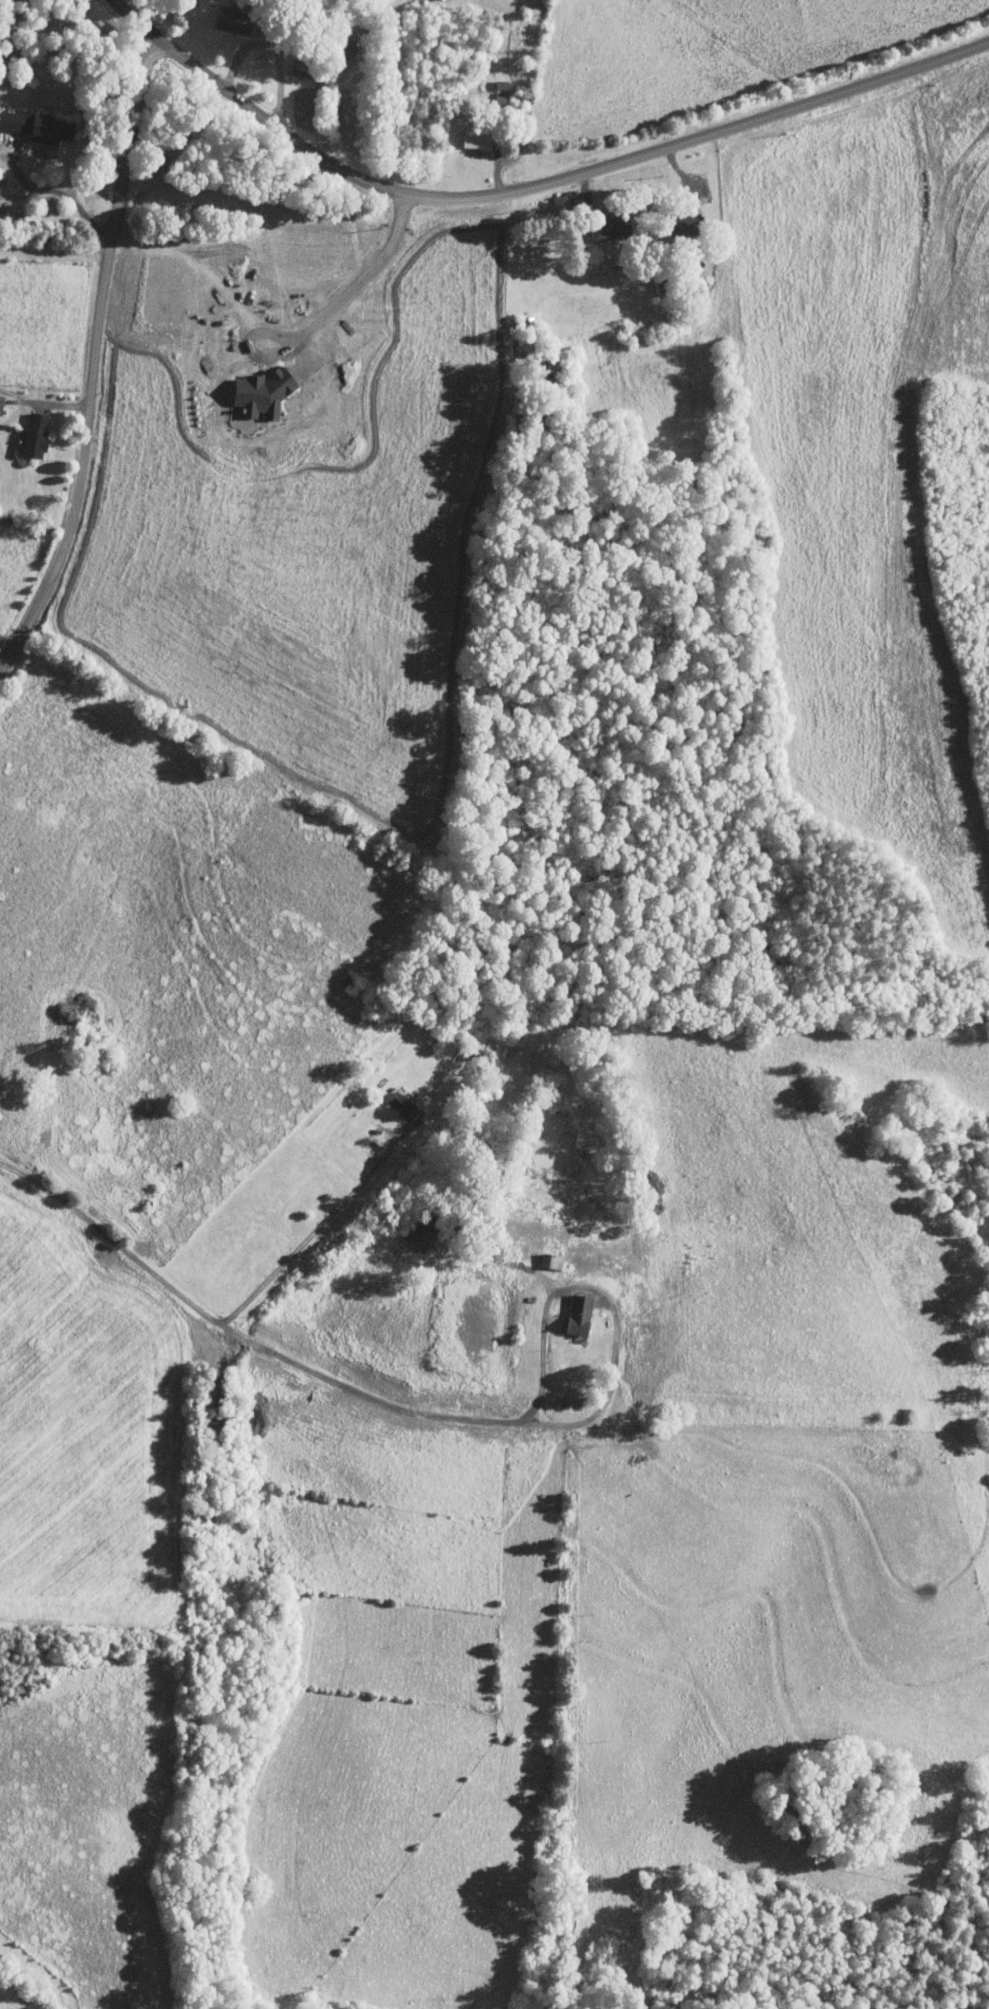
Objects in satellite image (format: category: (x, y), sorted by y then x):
building: (236, 19)
road: (9, 33)
road: (292, 42)
road: (283, 87)
building: (37, 125)
building: (481, 138)
road: (6, 151)
road: (530, 188)
road: (59, 192)
building: (614, 229)
road: (365, 274)
road: (90, 351)
building: (267, 392)
road: (40, 402)
building: (38, 433)
building: (404, 1104)
road: (318, 1228)
road: (605, 1299)
building: (582, 1316)
road: (242, 1335)

